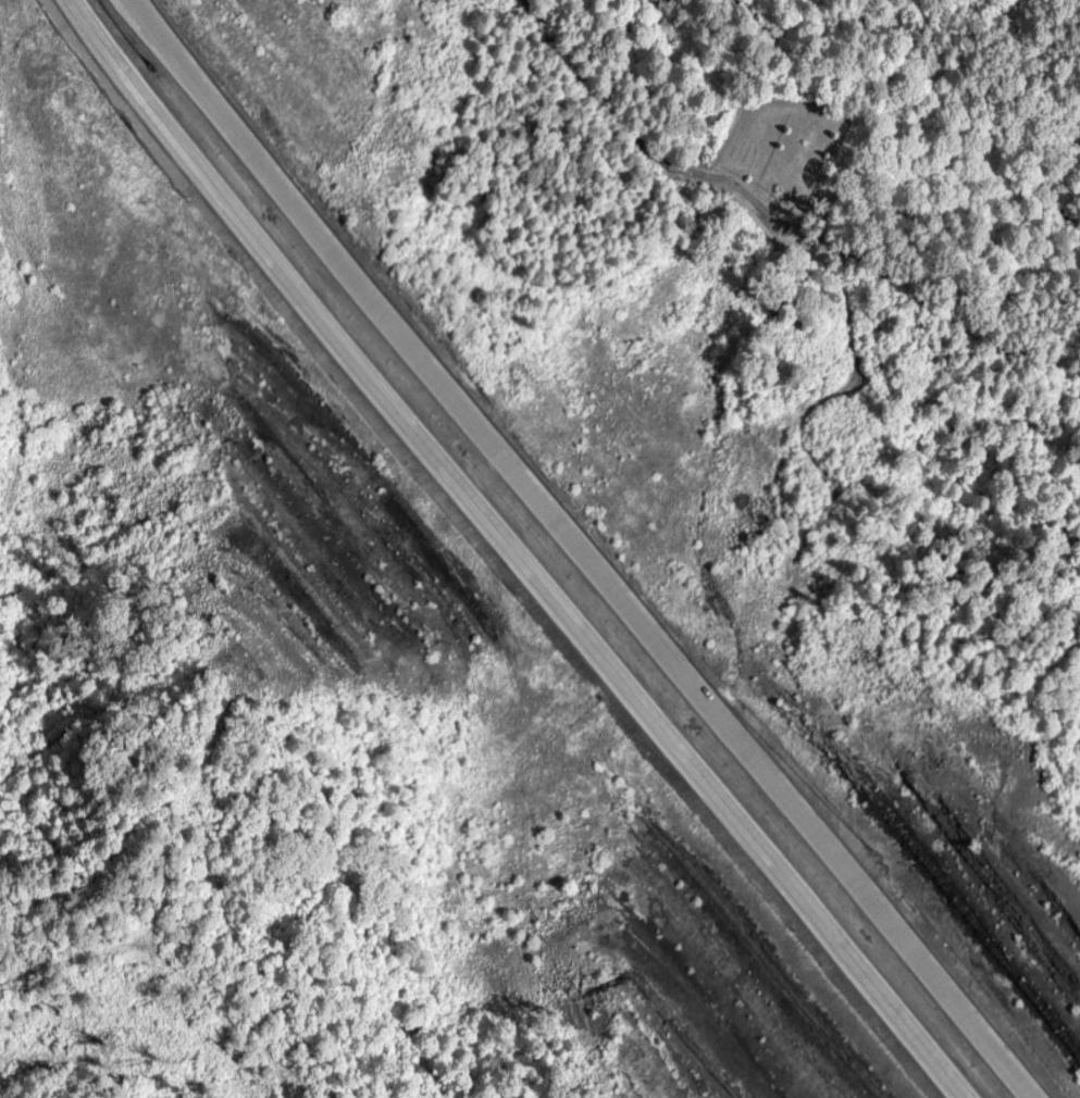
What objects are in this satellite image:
road: (576, 549)
road: (514, 550)
quarry: (318, 557)
quarry: (983, 851)
quarry: (695, 988)

